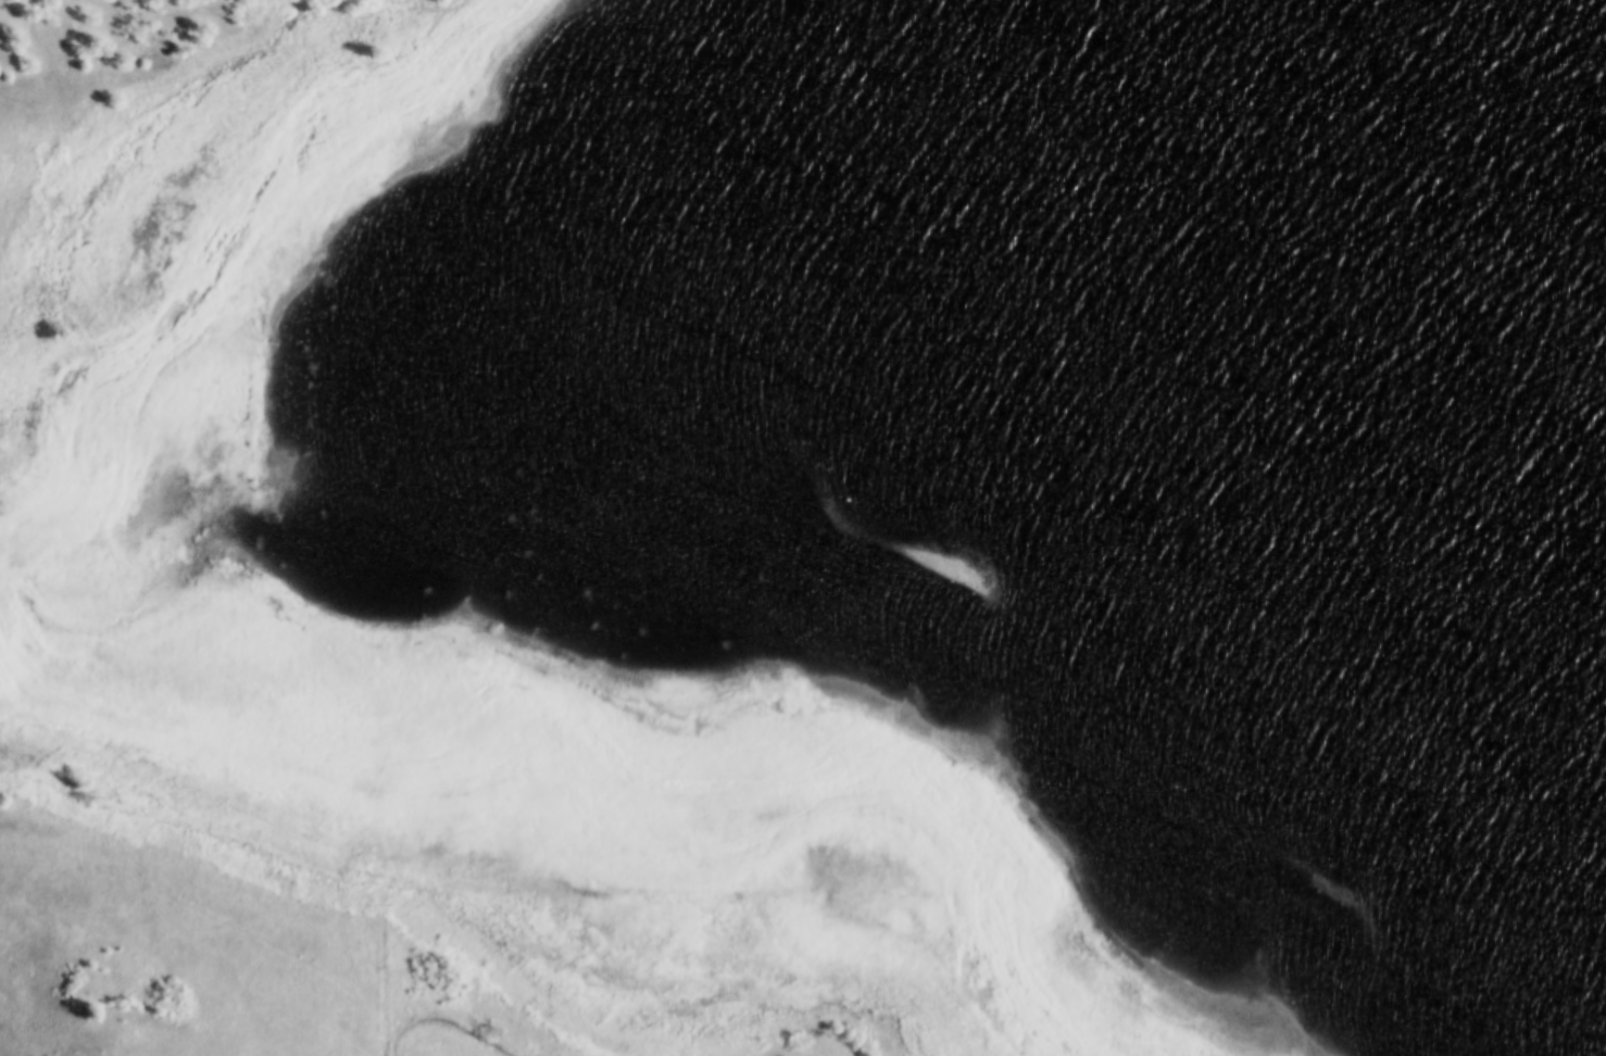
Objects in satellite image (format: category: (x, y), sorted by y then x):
road: (501, 870)

